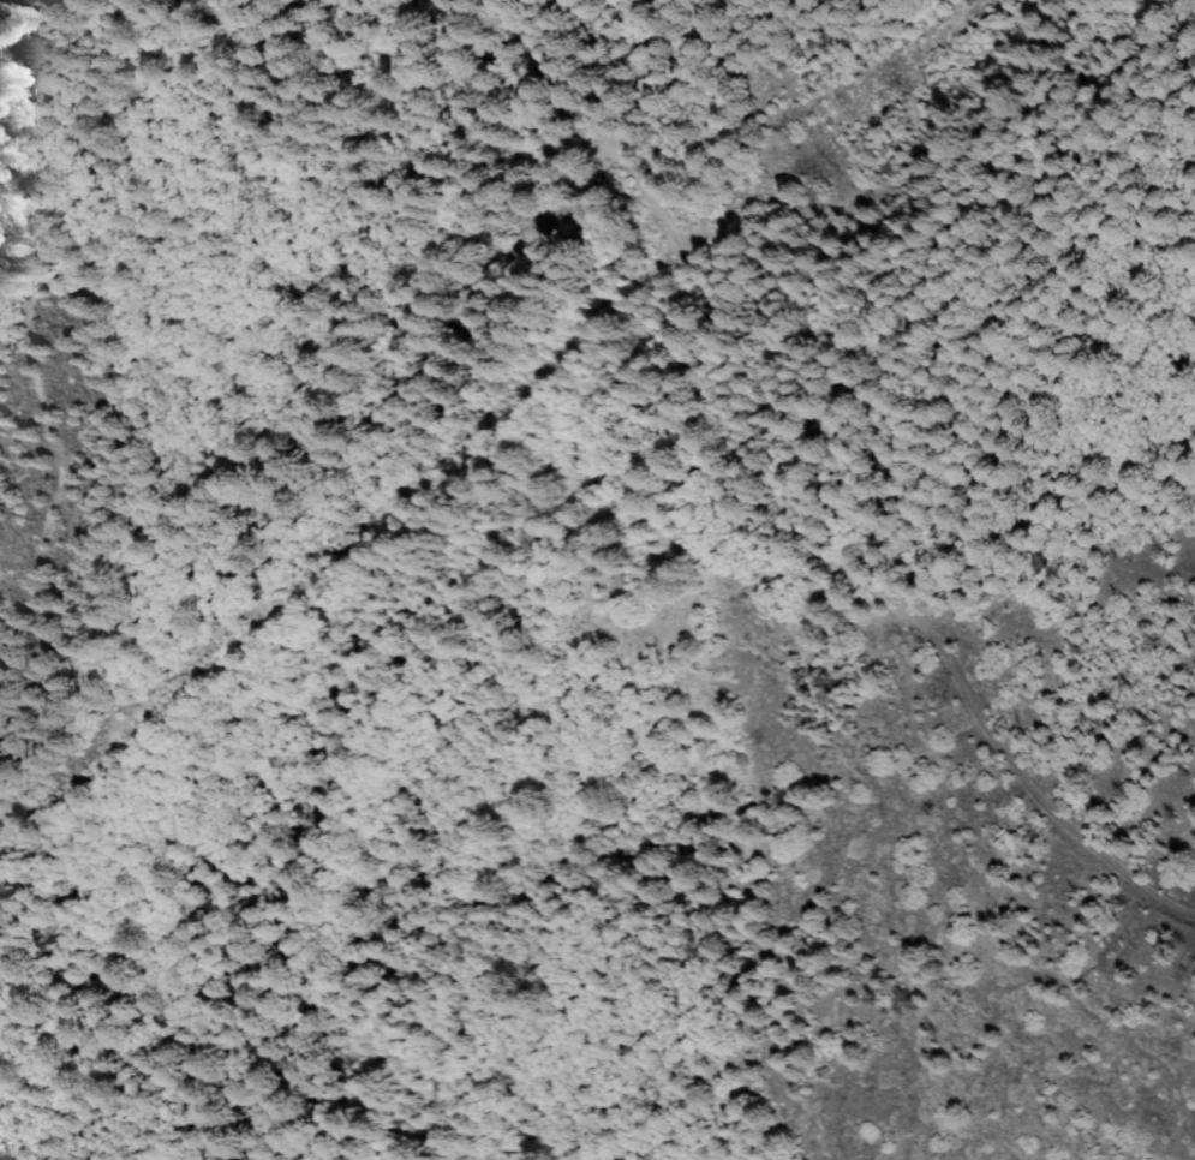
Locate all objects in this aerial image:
road: (213, 18)
road: (543, 73)
road: (753, 440)

